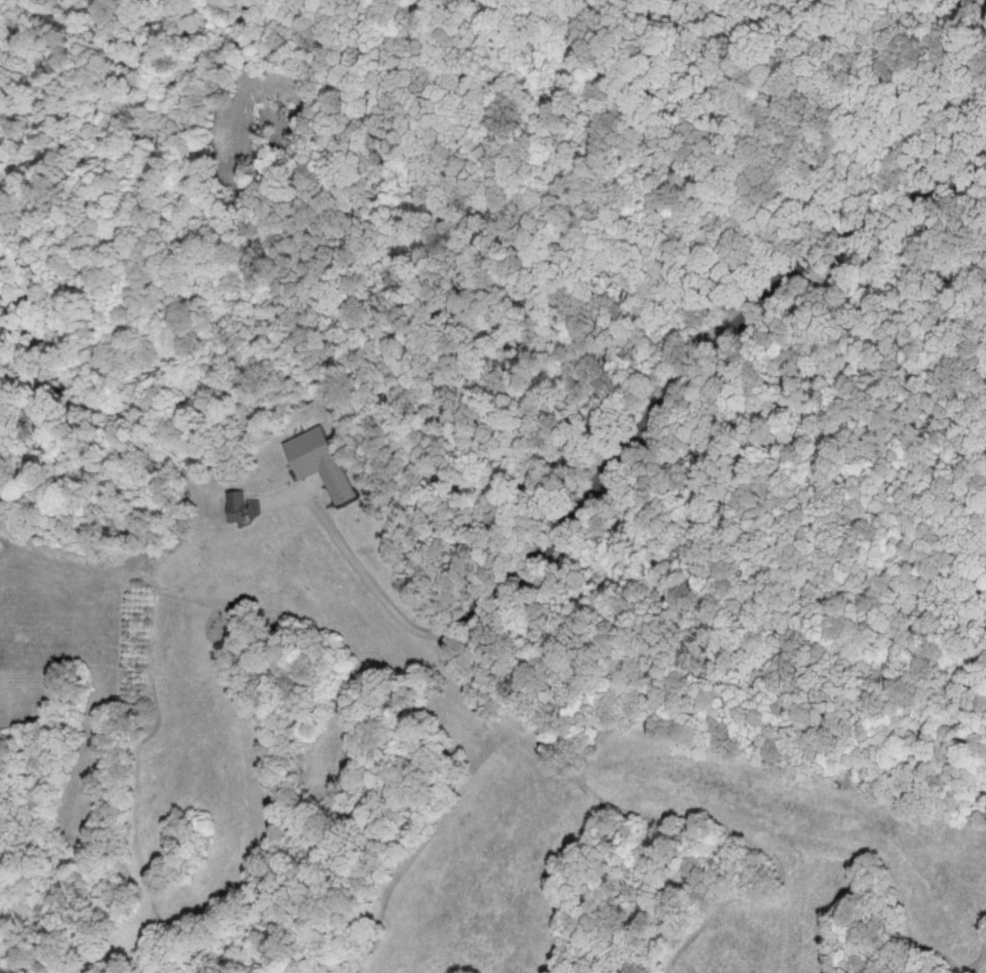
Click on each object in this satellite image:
building: (322, 463)
road: (611, 468)
building: (239, 508)

